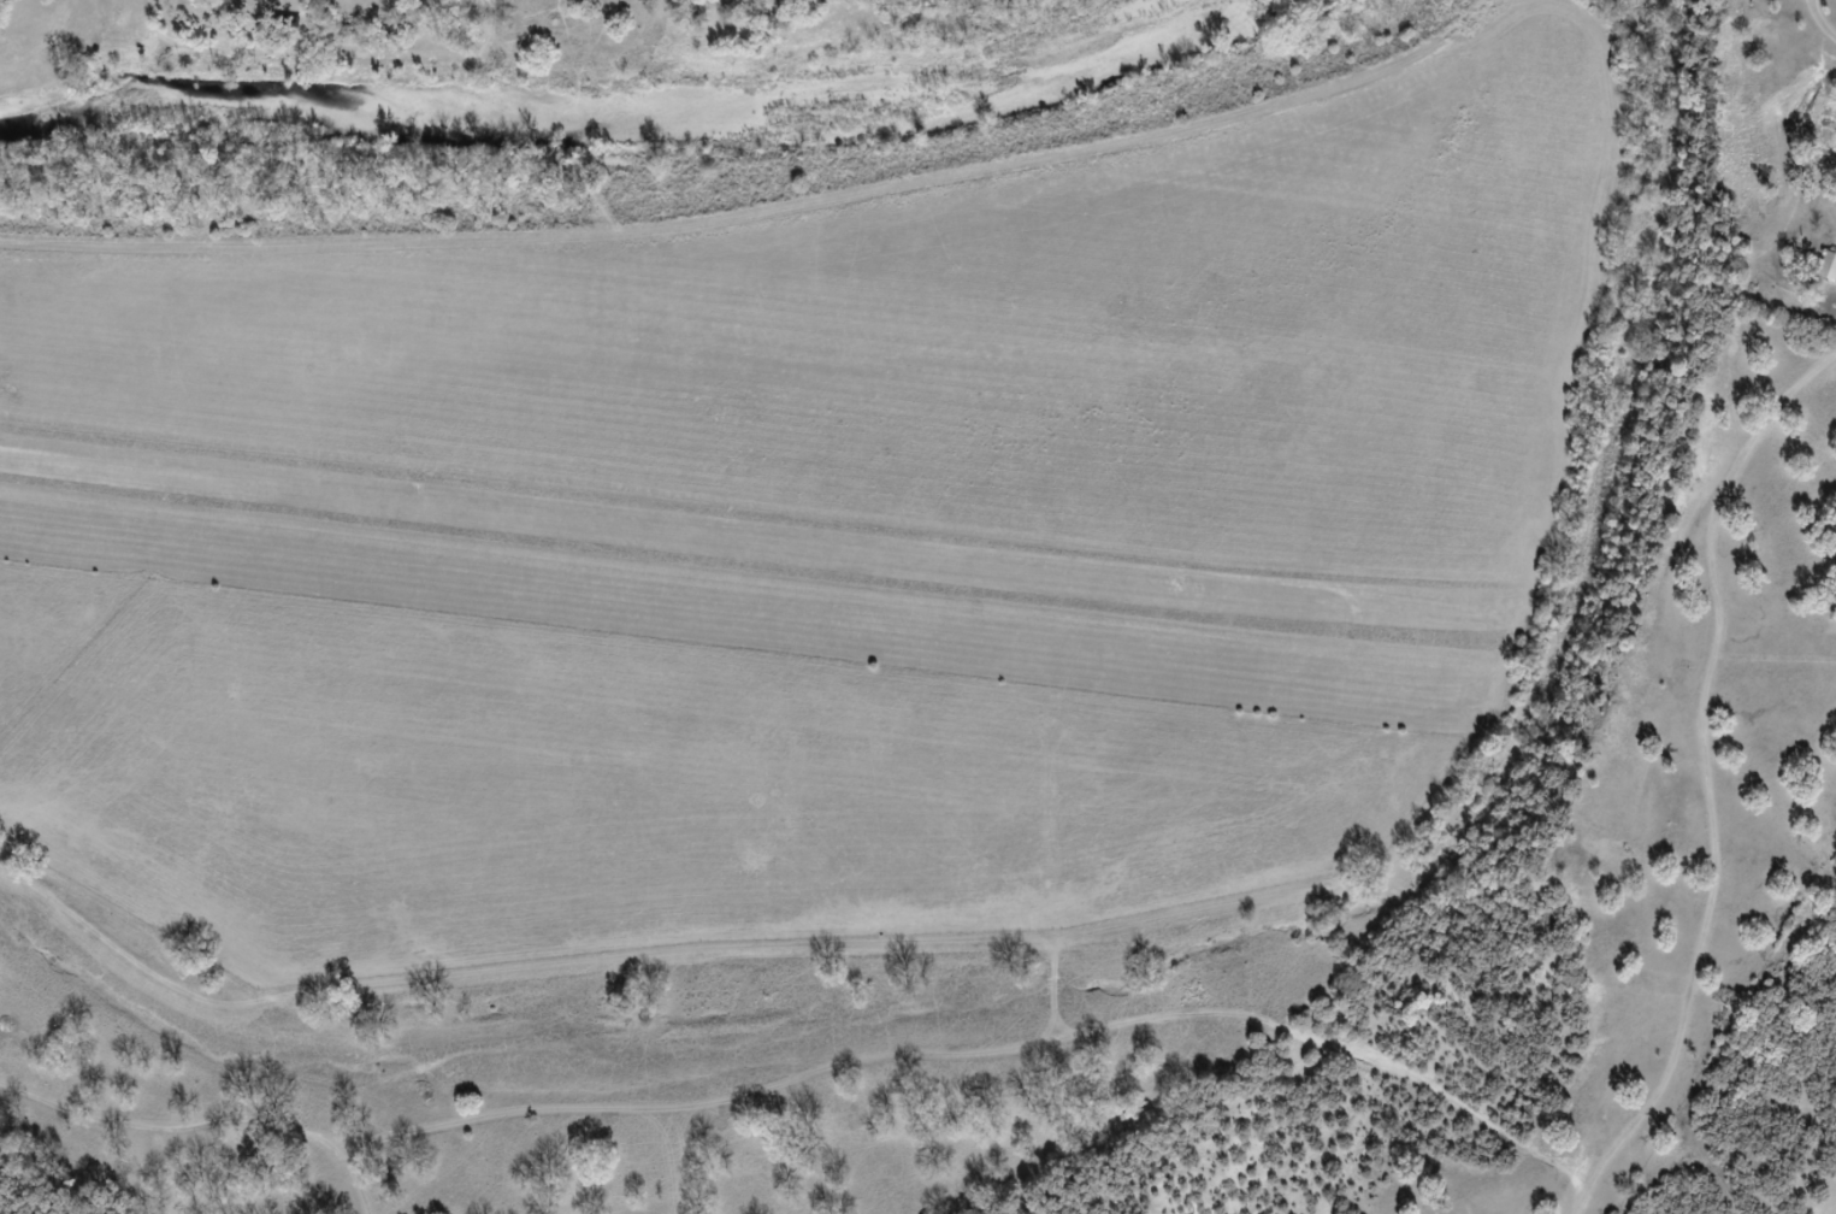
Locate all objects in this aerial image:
road: (1819, 23)
river: (631, 111)
building: (1823, 128)
road: (808, 207)
building: (1822, 271)
airport runway: (791, 540)

